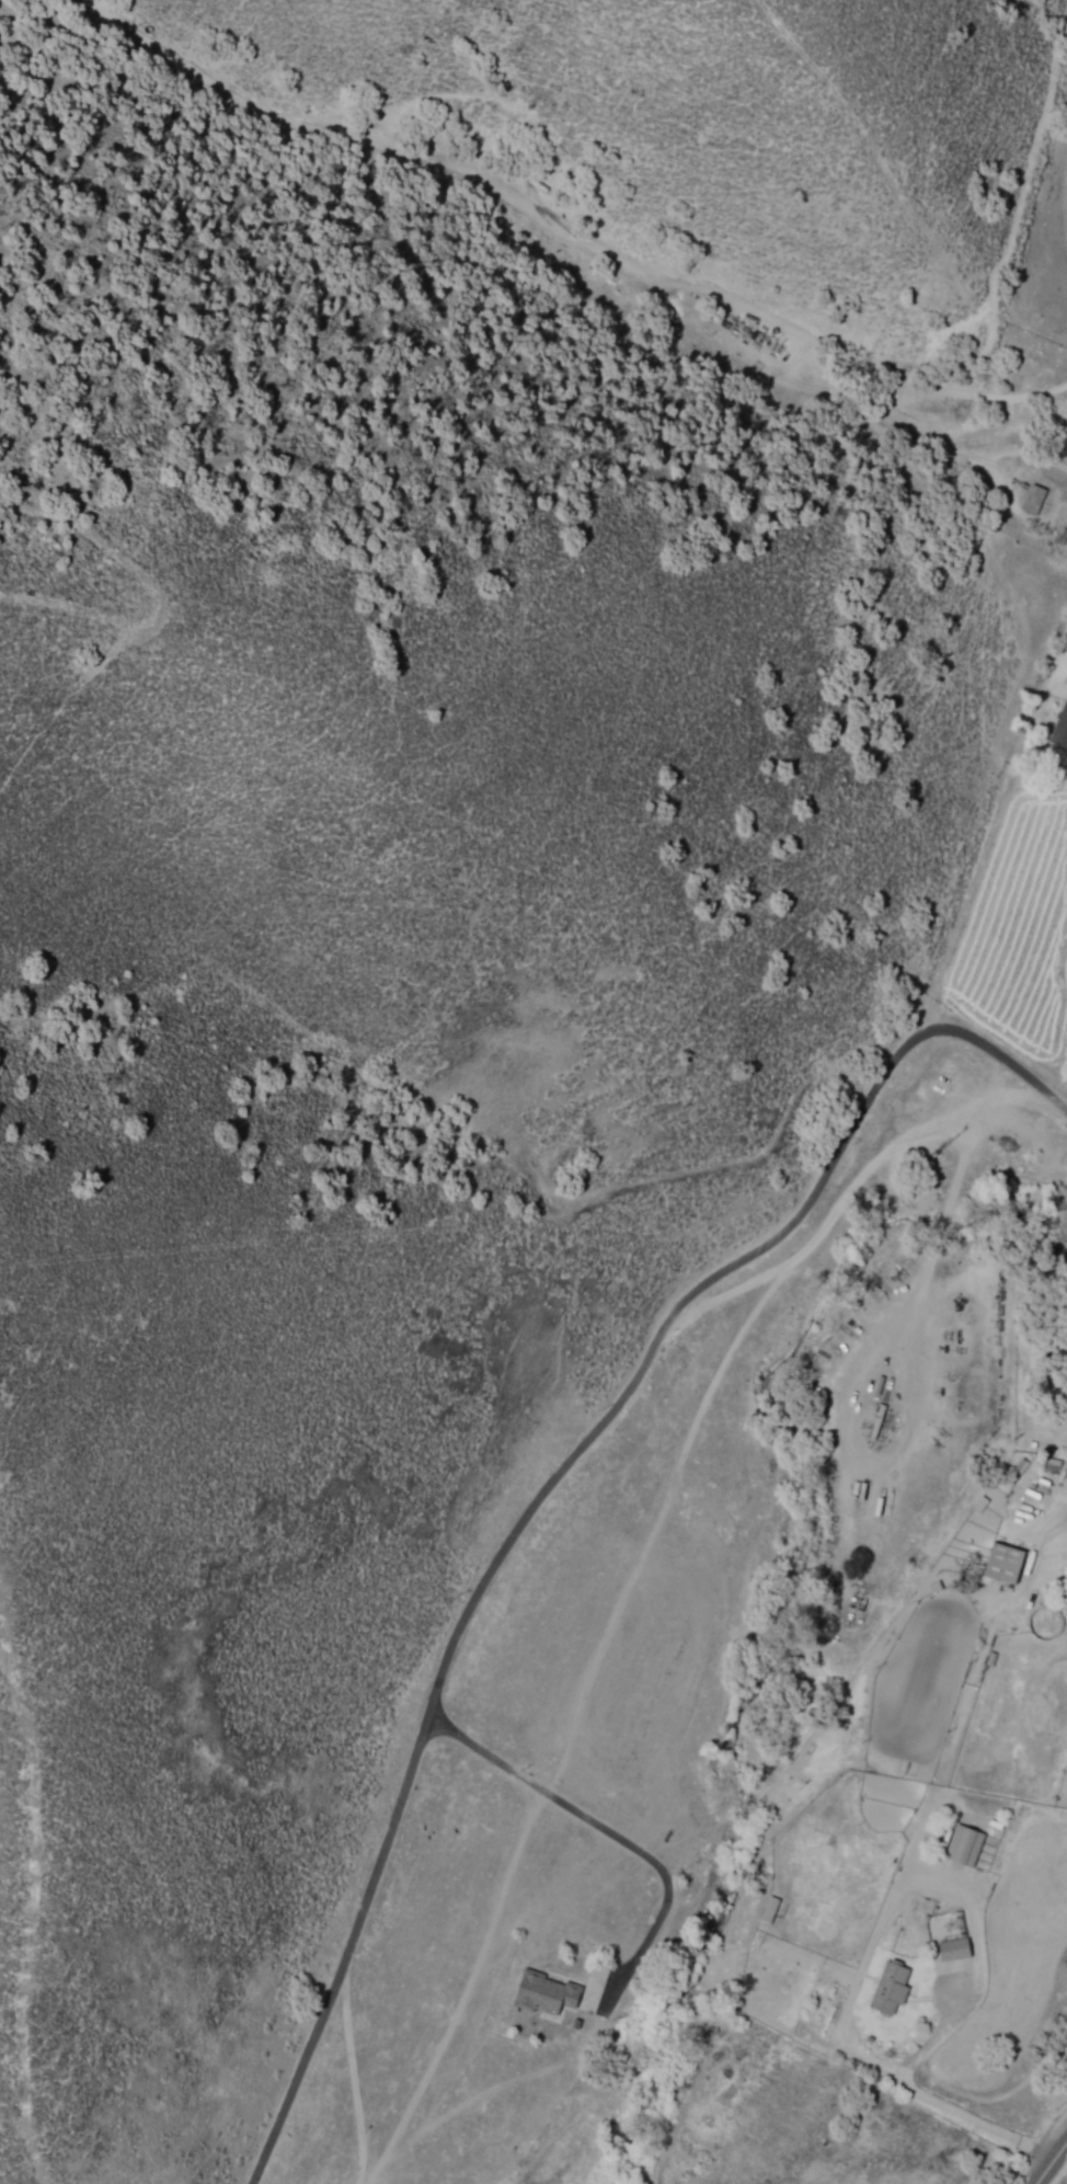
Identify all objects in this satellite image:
road: (567, 237)
building: (1034, 501)
road: (1052, 666)
building: (1062, 723)
road: (552, 1490)
building: (1008, 1564)
road: (610, 1842)
building: (966, 1845)
building: (956, 1949)
building: (892, 1989)
building: (549, 1991)
road: (1049, 2160)

